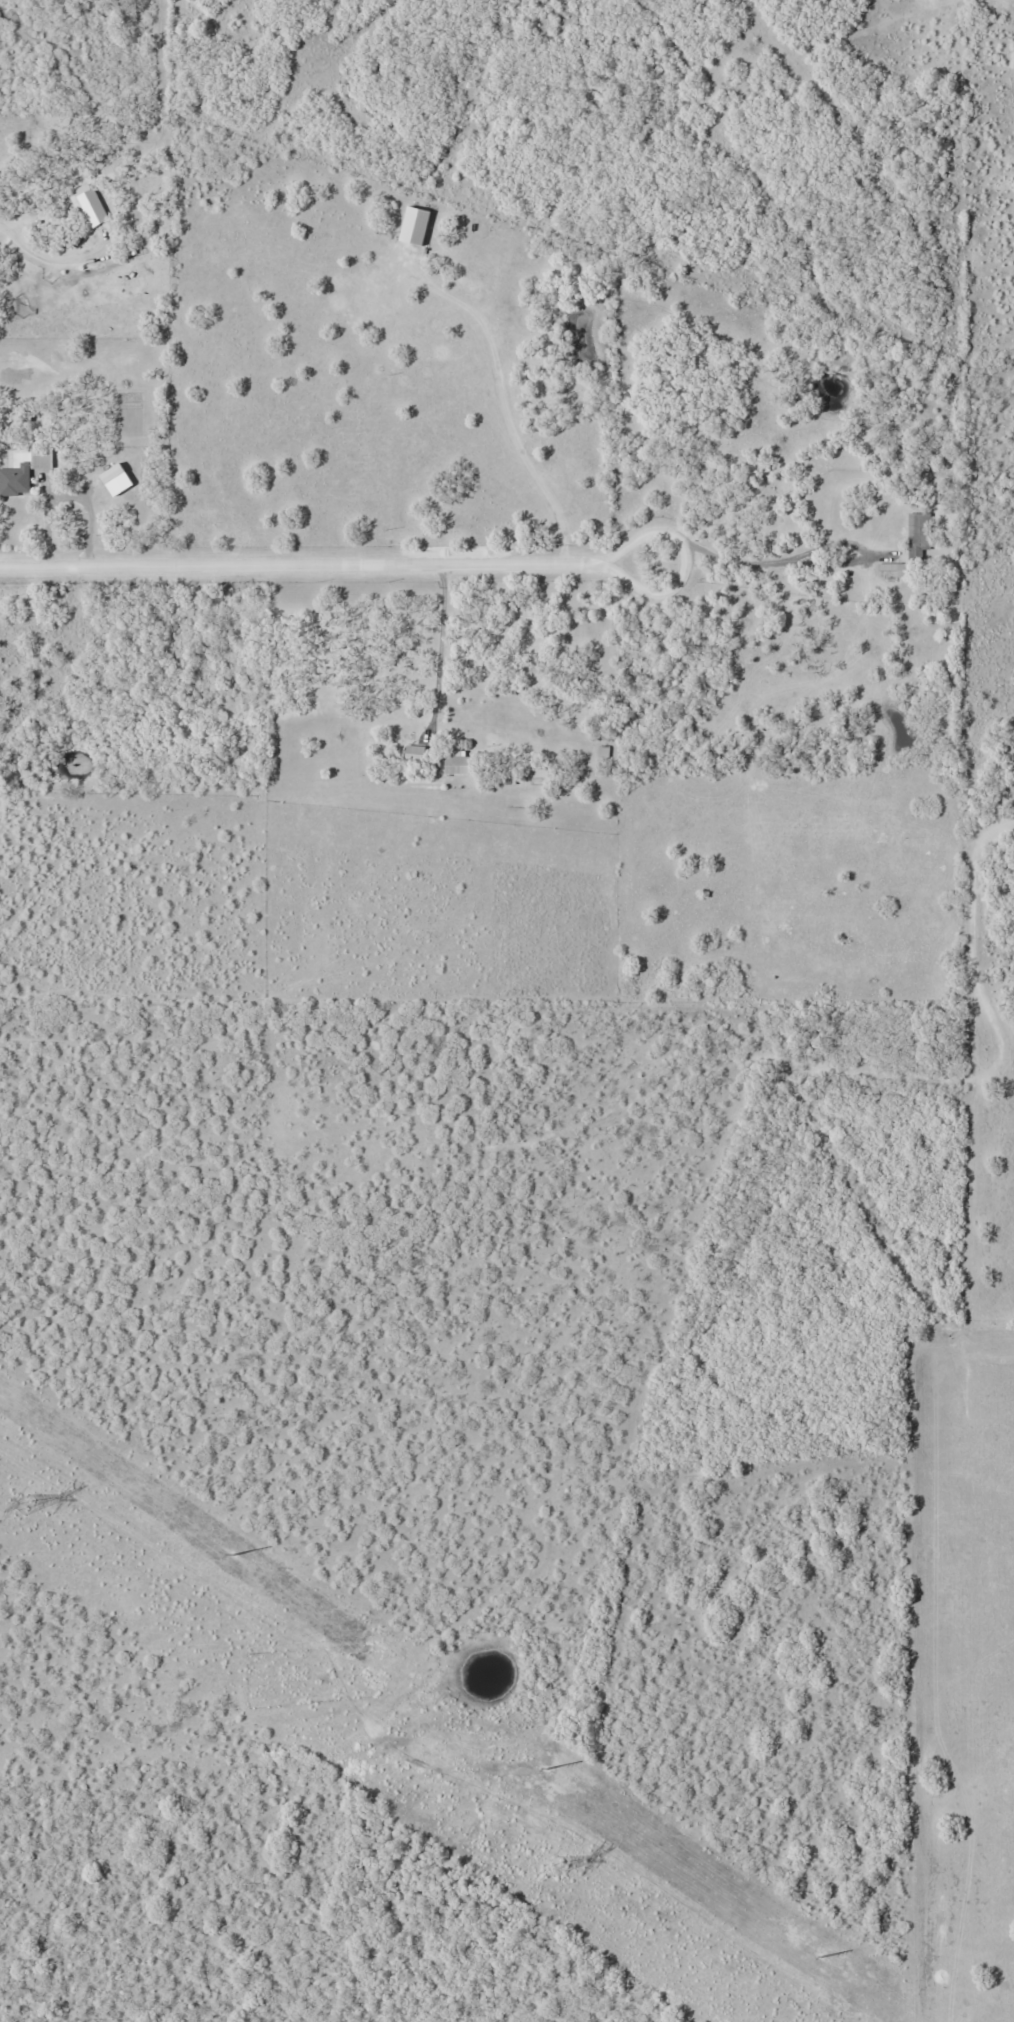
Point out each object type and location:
building: (94, 205)
building: (415, 226)
road: (53, 261)
building: (41, 458)
building: (14, 479)
road: (51, 523)
building: (920, 536)
road: (298, 562)
building: (891, 570)
building: (603, 751)
building: (416, 752)
building: (456, 763)
power tower: (28, 1506)
power tower: (557, 1865)

